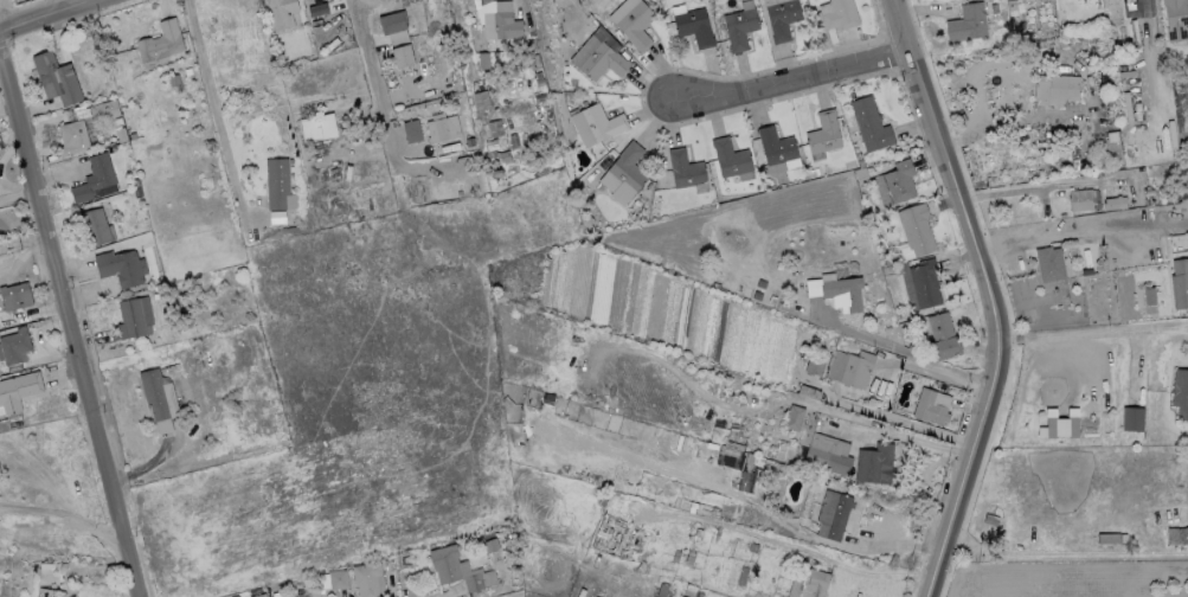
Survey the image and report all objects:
building: (280, 12)
building: (839, 14)
building: (781, 18)
road: (56, 19)
building: (1175, 19)
building: (391, 20)
building: (965, 23)
building: (505, 25)
building: (635, 25)
building: (693, 26)
building: (738, 27)
building: (159, 43)
building: (400, 54)
building: (601, 60)
road: (370, 76)
road: (781, 76)
building: (54, 78)
building: (1053, 89)
building: (480, 99)
building: (103, 110)
road: (214, 111)
road: (1004, 117)
building: (602, 122)
building: (869, 123)
building: (444, 124)
building: (317, 126)
building: (823, 131)
building: (71, 136)
building: (777, 147)
building: (730, 158)
building: (628, 166)
building: (685, 168)
building: (92, 176)
building: (898, 180)
building: (275, 181)
building: (1079, 199)
building: (1113, 203)
building: (96, 225)
building: (914, 227)
road: (1078, 232)
road: (23, 239)
building: (1047, 263)
building: (120, 267)
building: (924, 282)
building: (1179, 282)
building: (836, 291)
building: (14, 295)
road: (982, 295)
building: (1148, 295)
road: (66, 312)
building: (133, 316)
road: (1086, 332)
building: (940, 335)
building: (14, 347)
road: (898, 348)
building: (849, 367)
building: (18, 389)
building: (153, 392)
building: (1180, 392)
building: (835, 393)
building: (931, 405)
building: (794, 417)
building: (1132, 418)
building: (1061, 426)
building: (827, 452)
building: (874, 463)
building: (747, 483)
building: (831, 513)
road: (69, 515)
building: (1177, 534)
building: (457, 567)
building: (367, 578)
building: (336, 579)
building: (807, 582)
building: (49, 592)
building: (258, 595)

